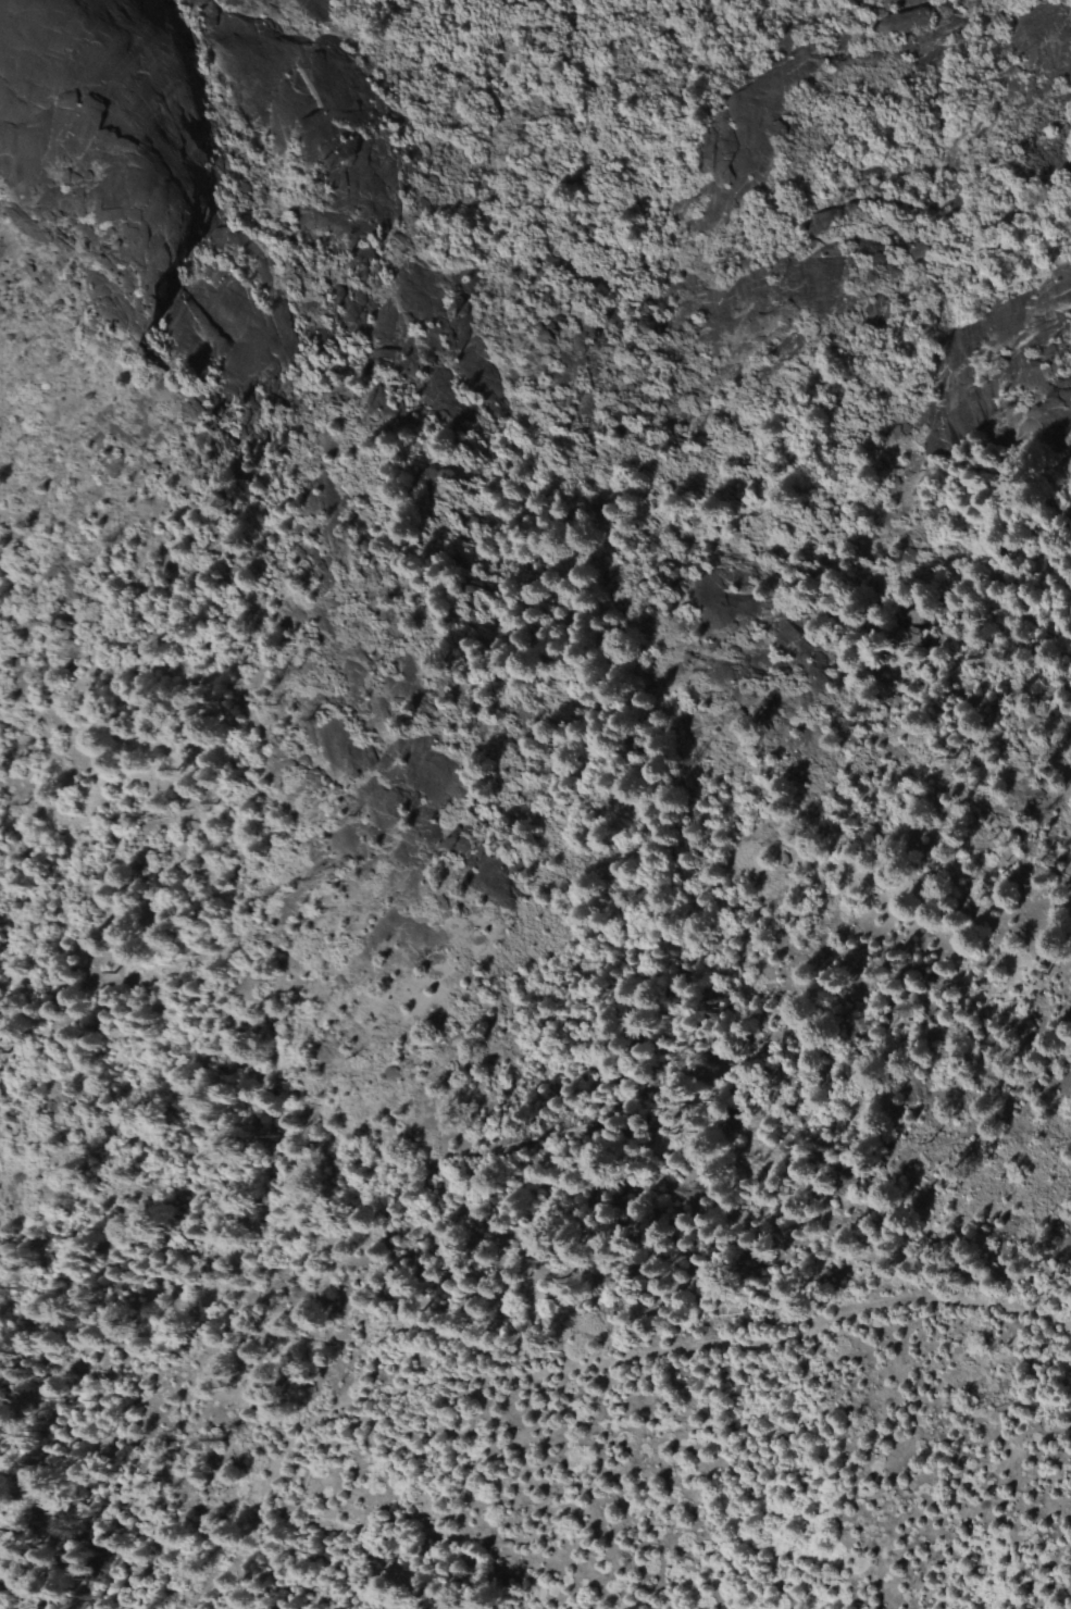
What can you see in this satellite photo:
road: (576, 1368)

